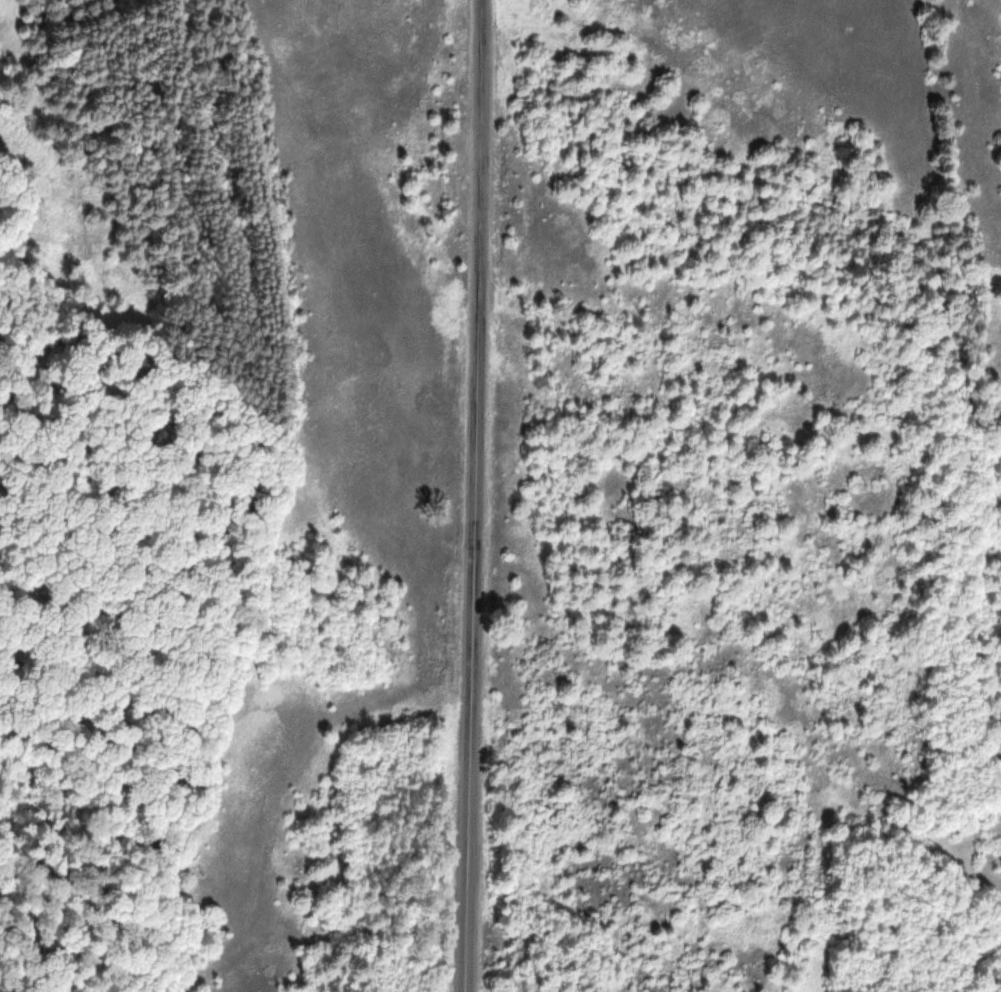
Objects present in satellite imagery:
road: (472, 496)

